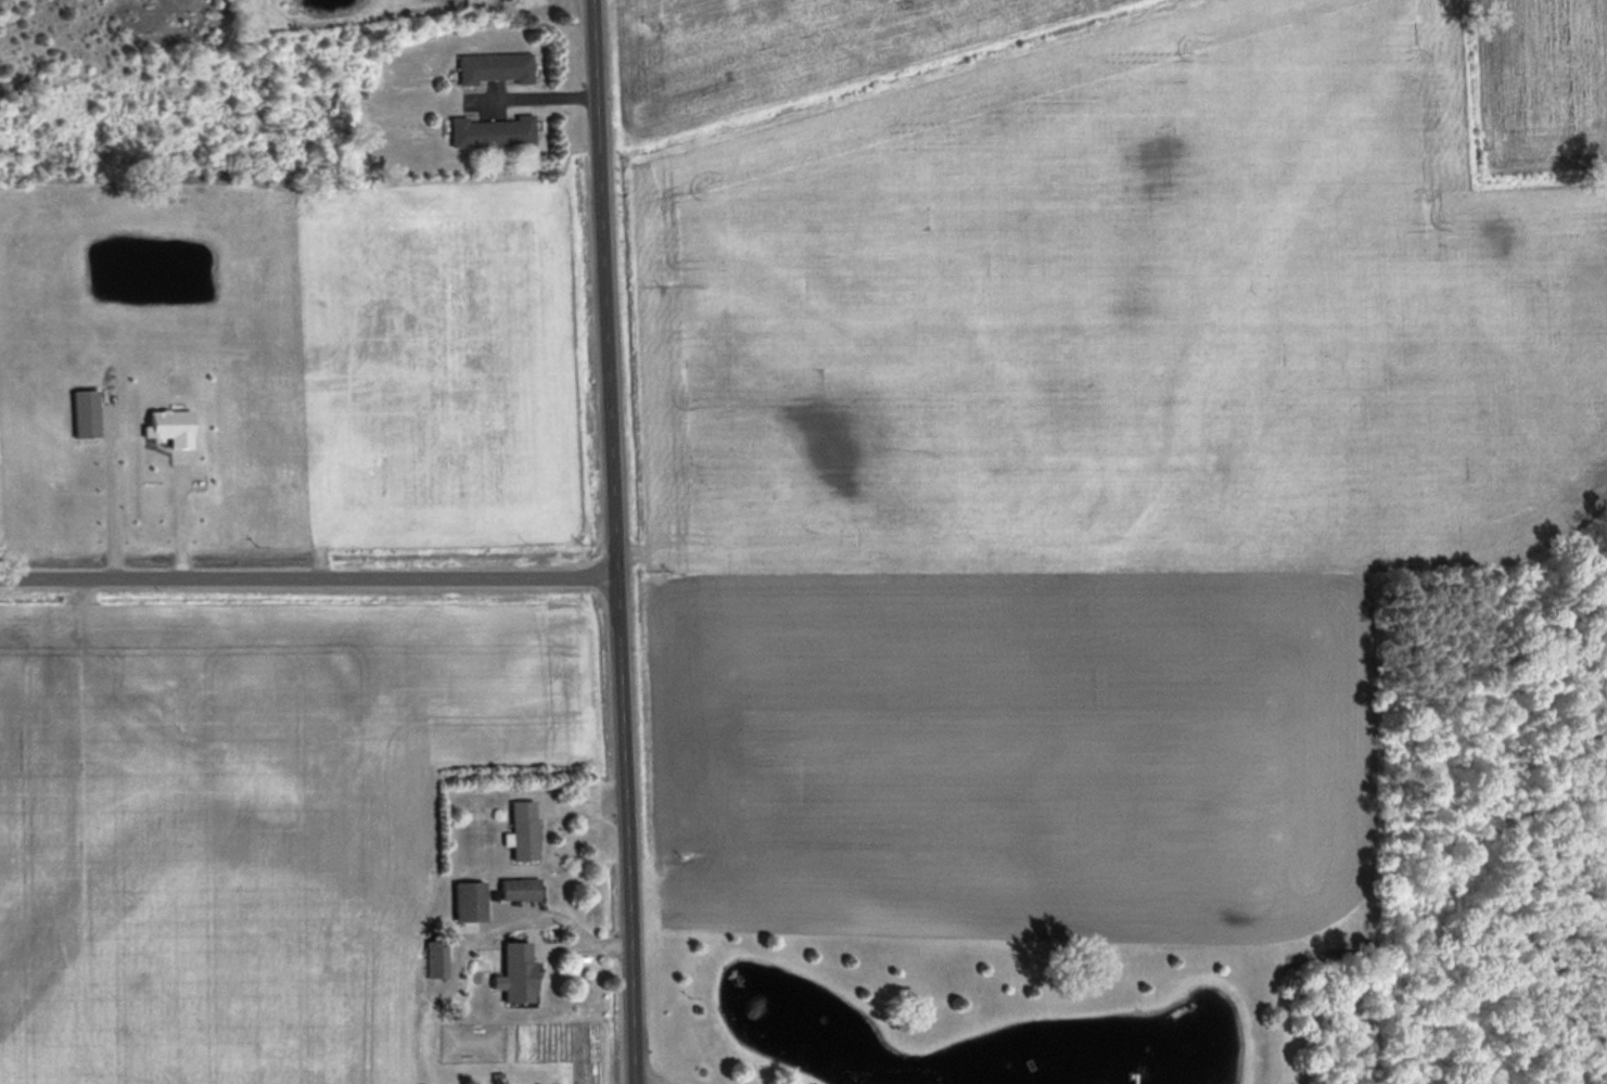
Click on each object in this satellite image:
building: (497, 68)
building: (494, 131)
building: (88, 411)
road: (116, 503)
road: (615, 539)
road: (308, 583)
building: (525, 828)
building: (522, 888)
building: (472, 900)
building: (438, 957)
building: (521, 970)
road: (667, 1080)
road: (635, 1082)

